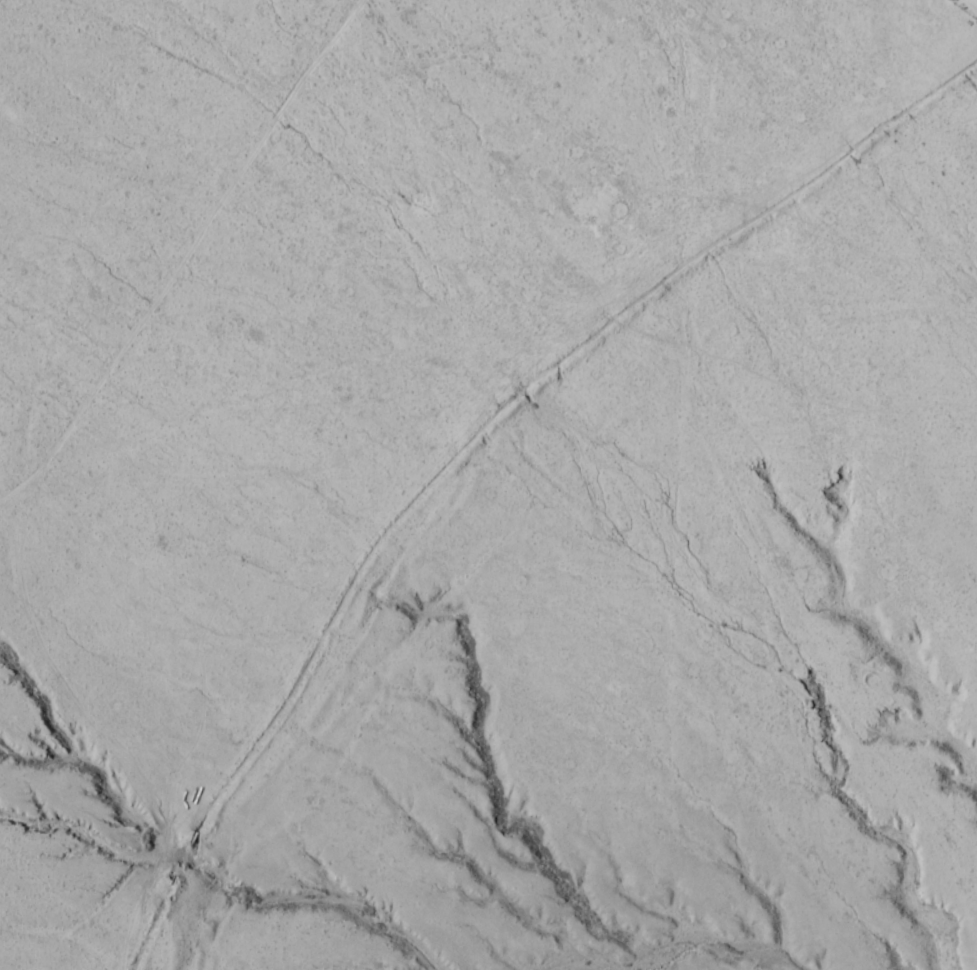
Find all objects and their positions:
road: (213, 291)

